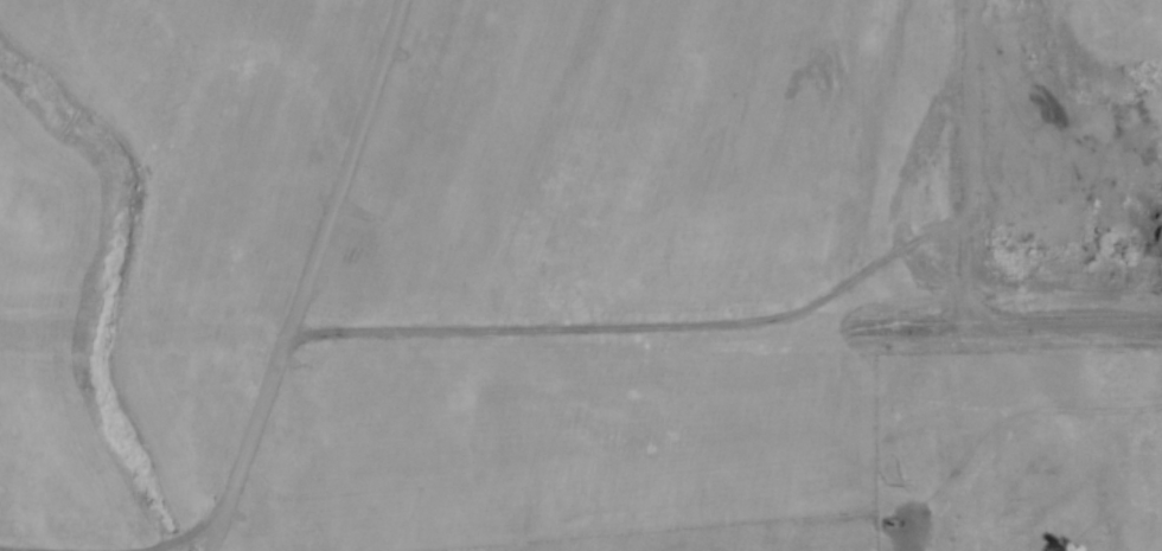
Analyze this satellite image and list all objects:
road: (954, 164)
airport: (539, 258)
road: (1003, 325)

